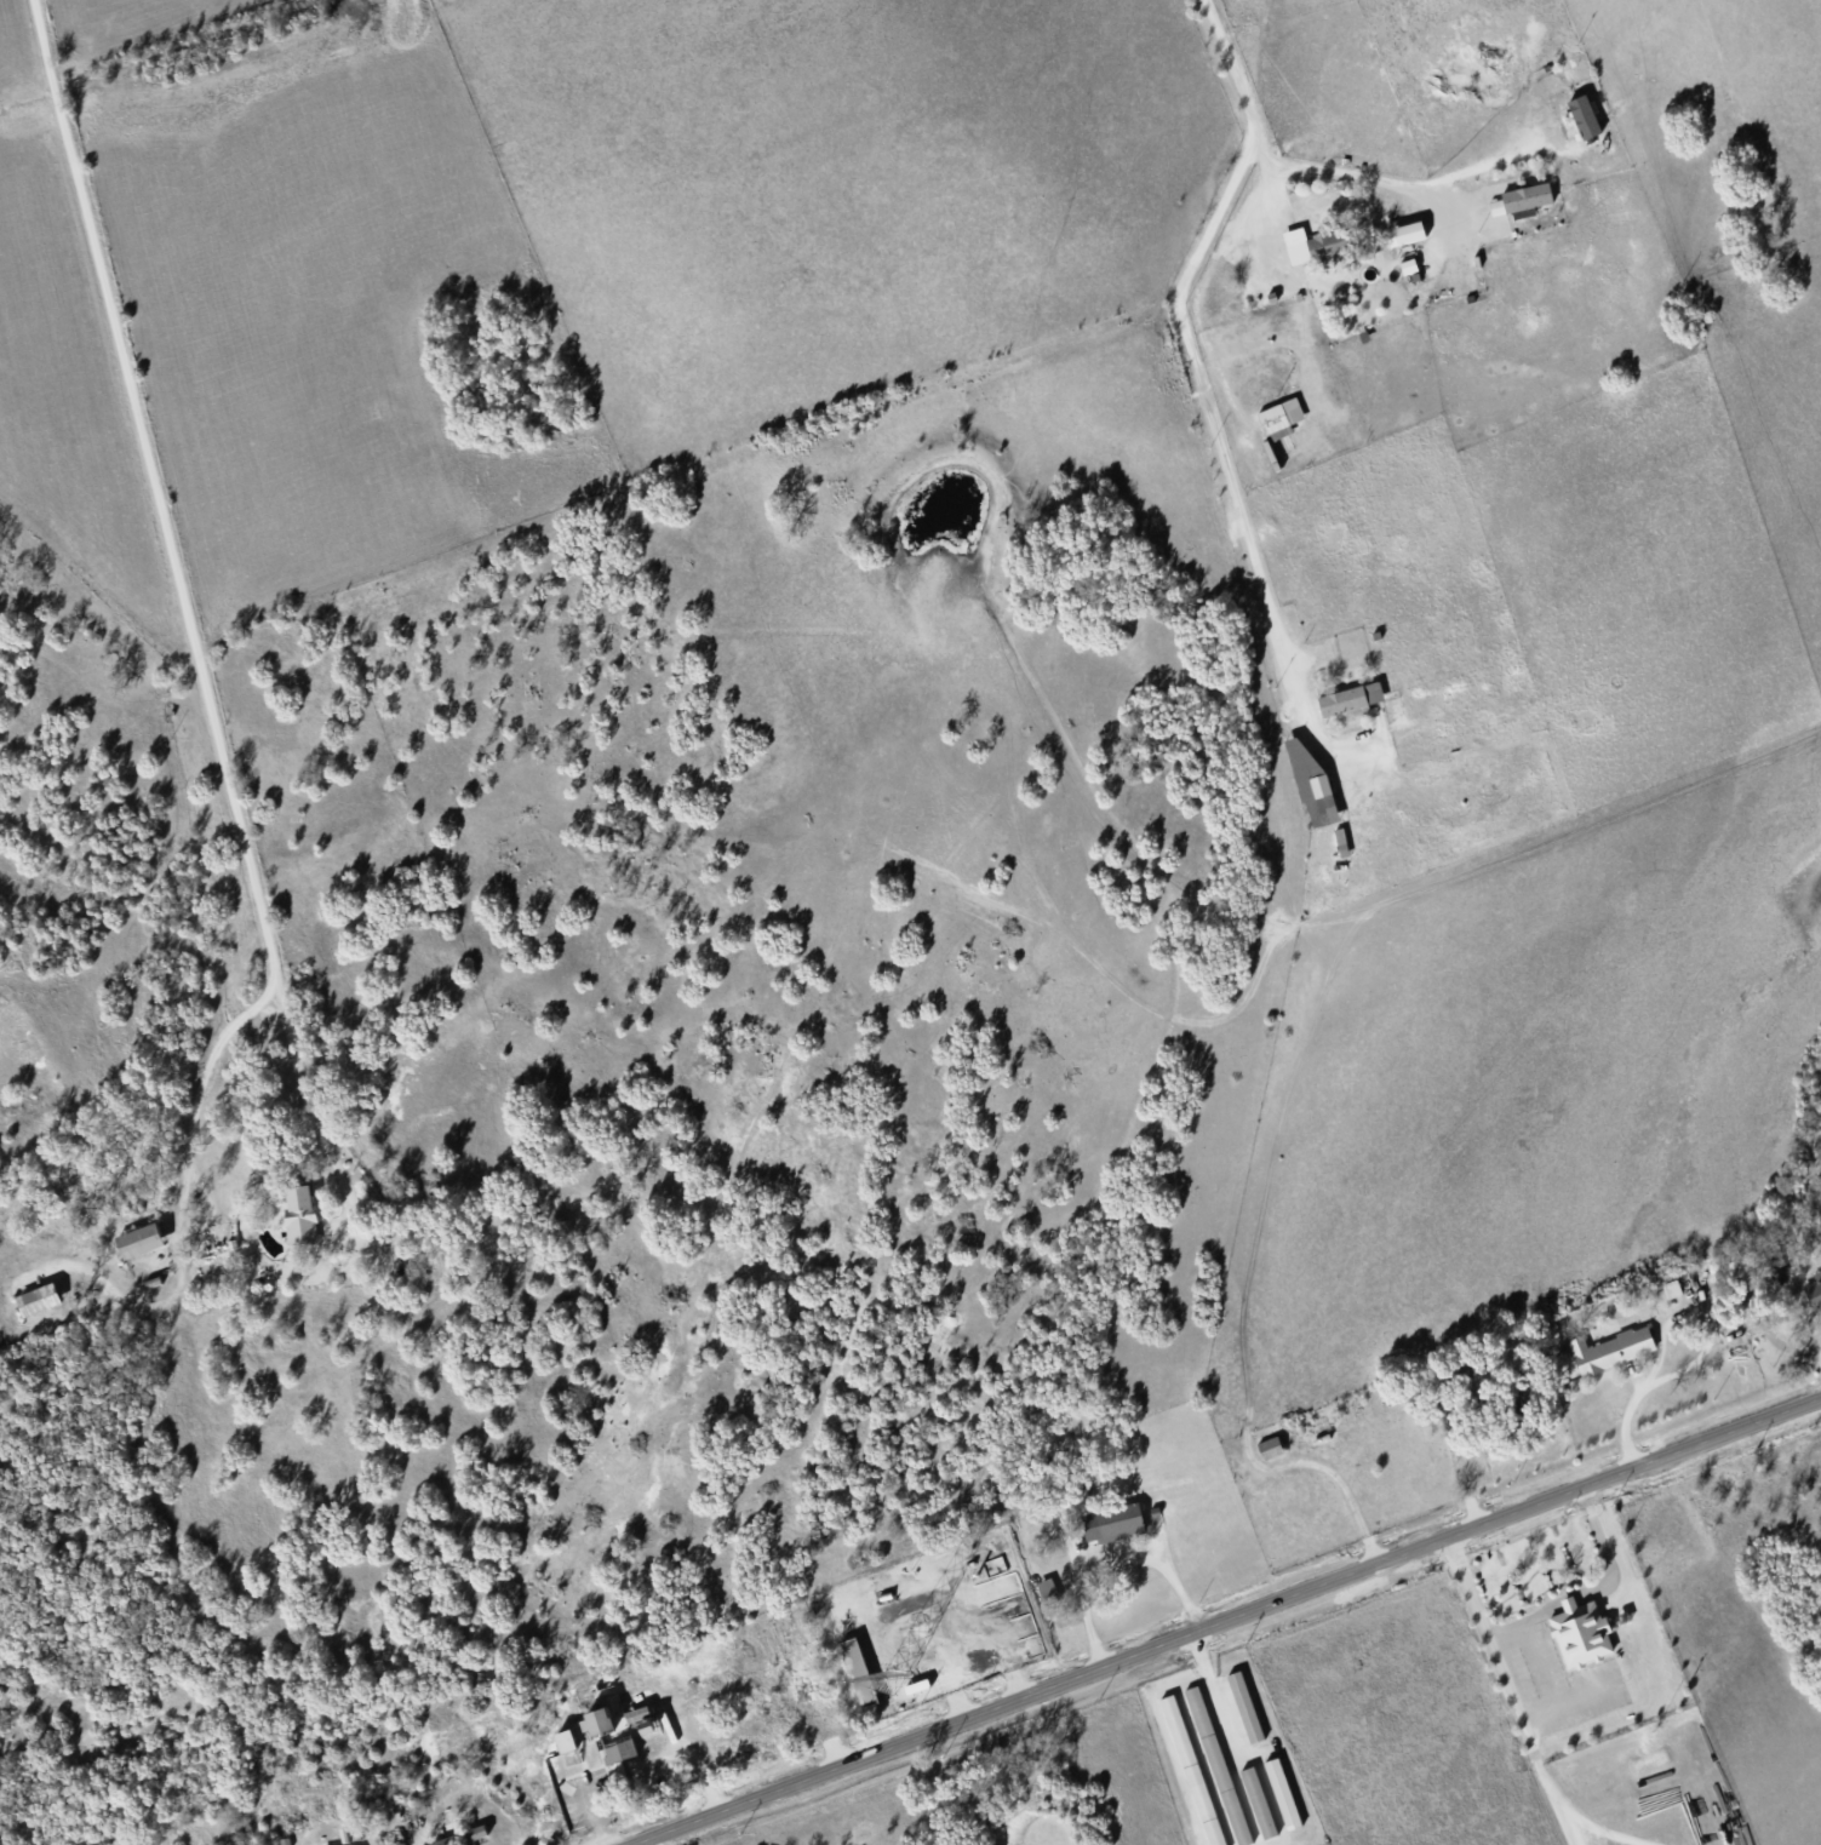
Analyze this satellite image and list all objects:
building: (1586, 116)
building: (1575, 151)
road: (1411, 184)
building: (1529, 196)
road: (1445, 217)
building: (1408, 233)
building: (1315, 243)
road: (1203, 399)
building: (1281, 418)
road: (176, 567)
building: (1352, 698)
building: (1311, 777)
building: (1342, 841)
road: (188, 1141)
building: (300, 1214)
building: (141, 1239)
building: (1815, 1289)
building: (1666, 1290)
building: (40, 1297)
road: (138, 1306)
road: (1661, 1329)
building: (1611, 1348)
building: (1271, 1446)
building: (1113, 1520)
road: (1605, 1529)
road: (1111, 1557)
building: (1048, 1588)
road: (1227, 1618)
road: (1506, 1629)
building: (1581, 1631)
building: (859, 1672)
road: (1580, 1698)
building: (1247, 1706)
road: (1540, 1714)
building: (600, 1720)
building: (569, 1740)
building: (619, 1751)
building: (1218, 1765)
road: (1535, 1766)
building: (1192, 1770)
building: (1283, 1793)
building: (1259, 1801)
road: (594, 1811)
road: (1568, 1827)
road: (1604, 1829)
building: (463, 1837)
road: (643, 1844)

